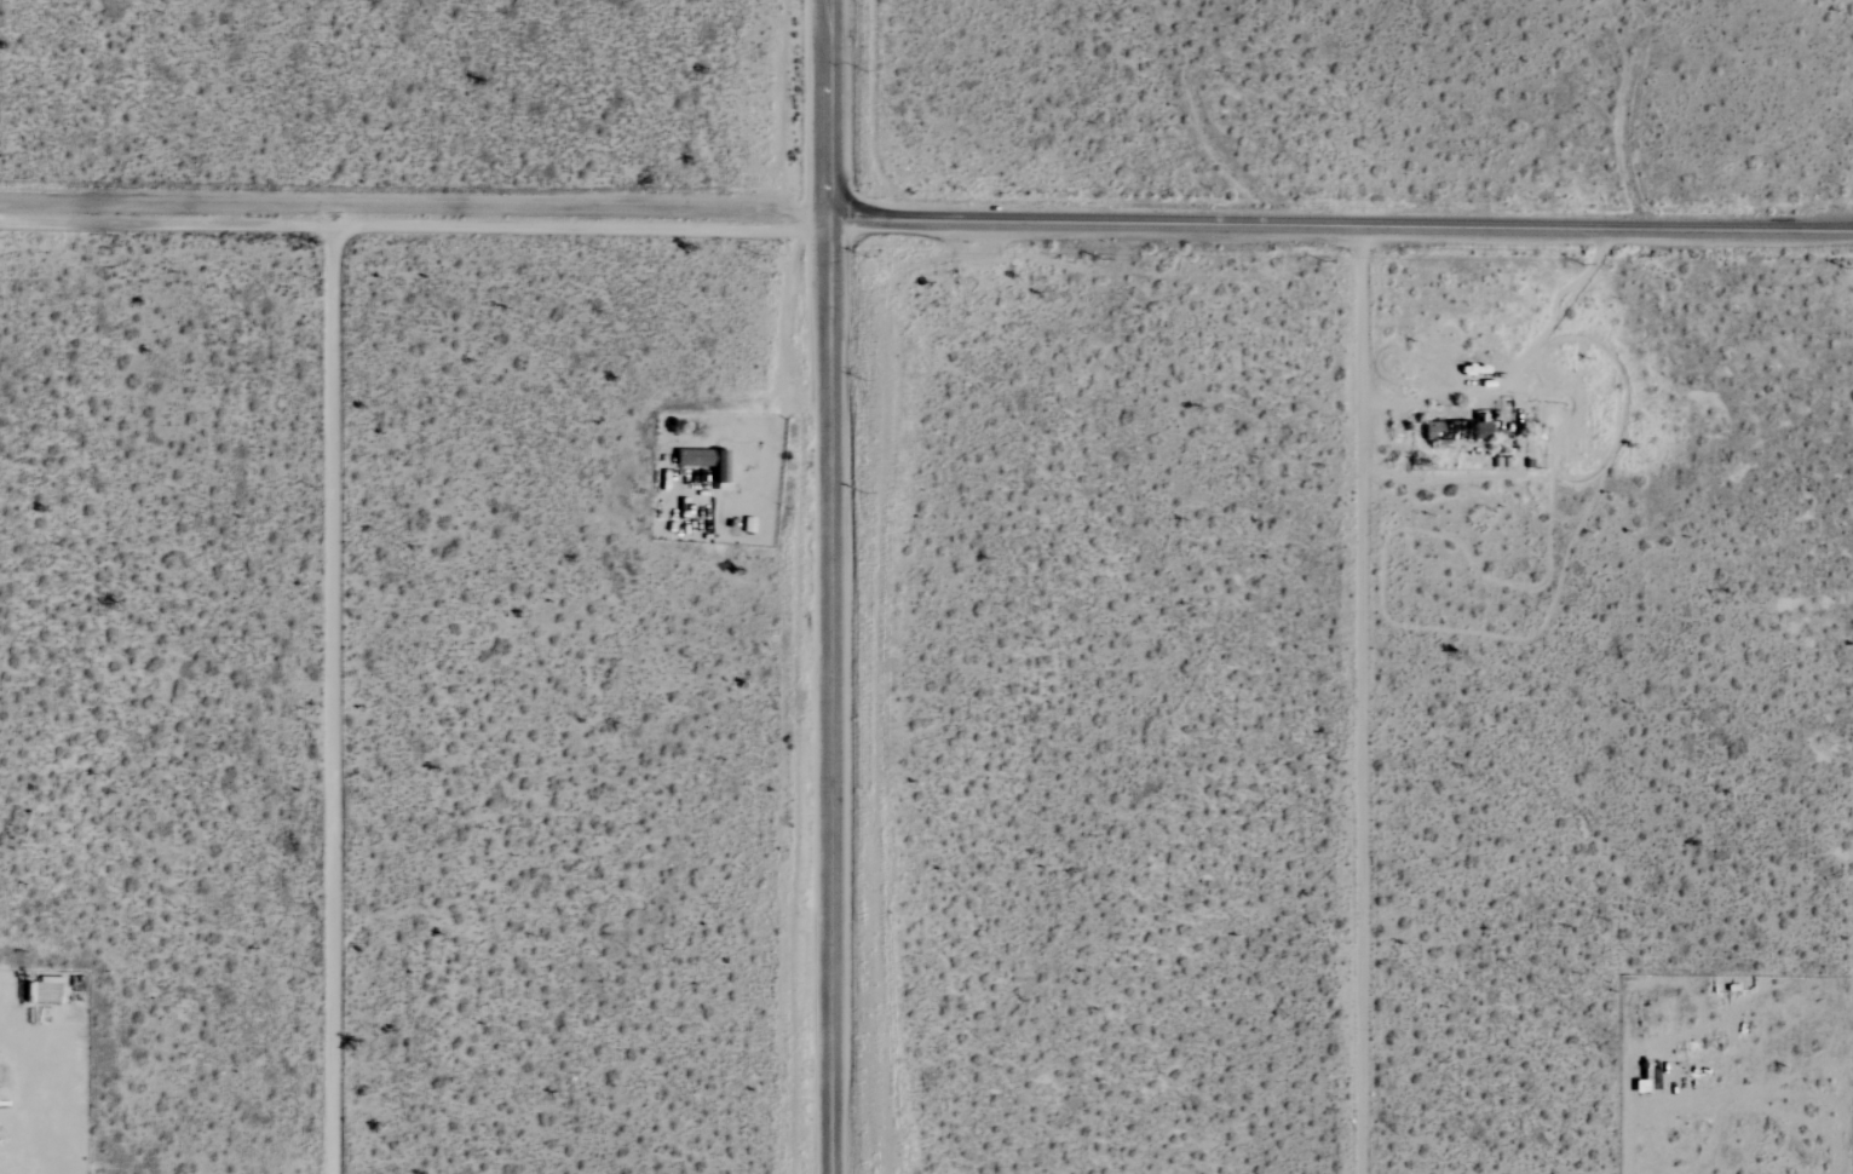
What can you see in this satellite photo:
road: (830, 111)
road: (415, 209)
road: (1341, 226)
road: (1515, 362)
building: (702, 461)
road: (334, 690)
road: (831, 698)
road: (1359, 700)

